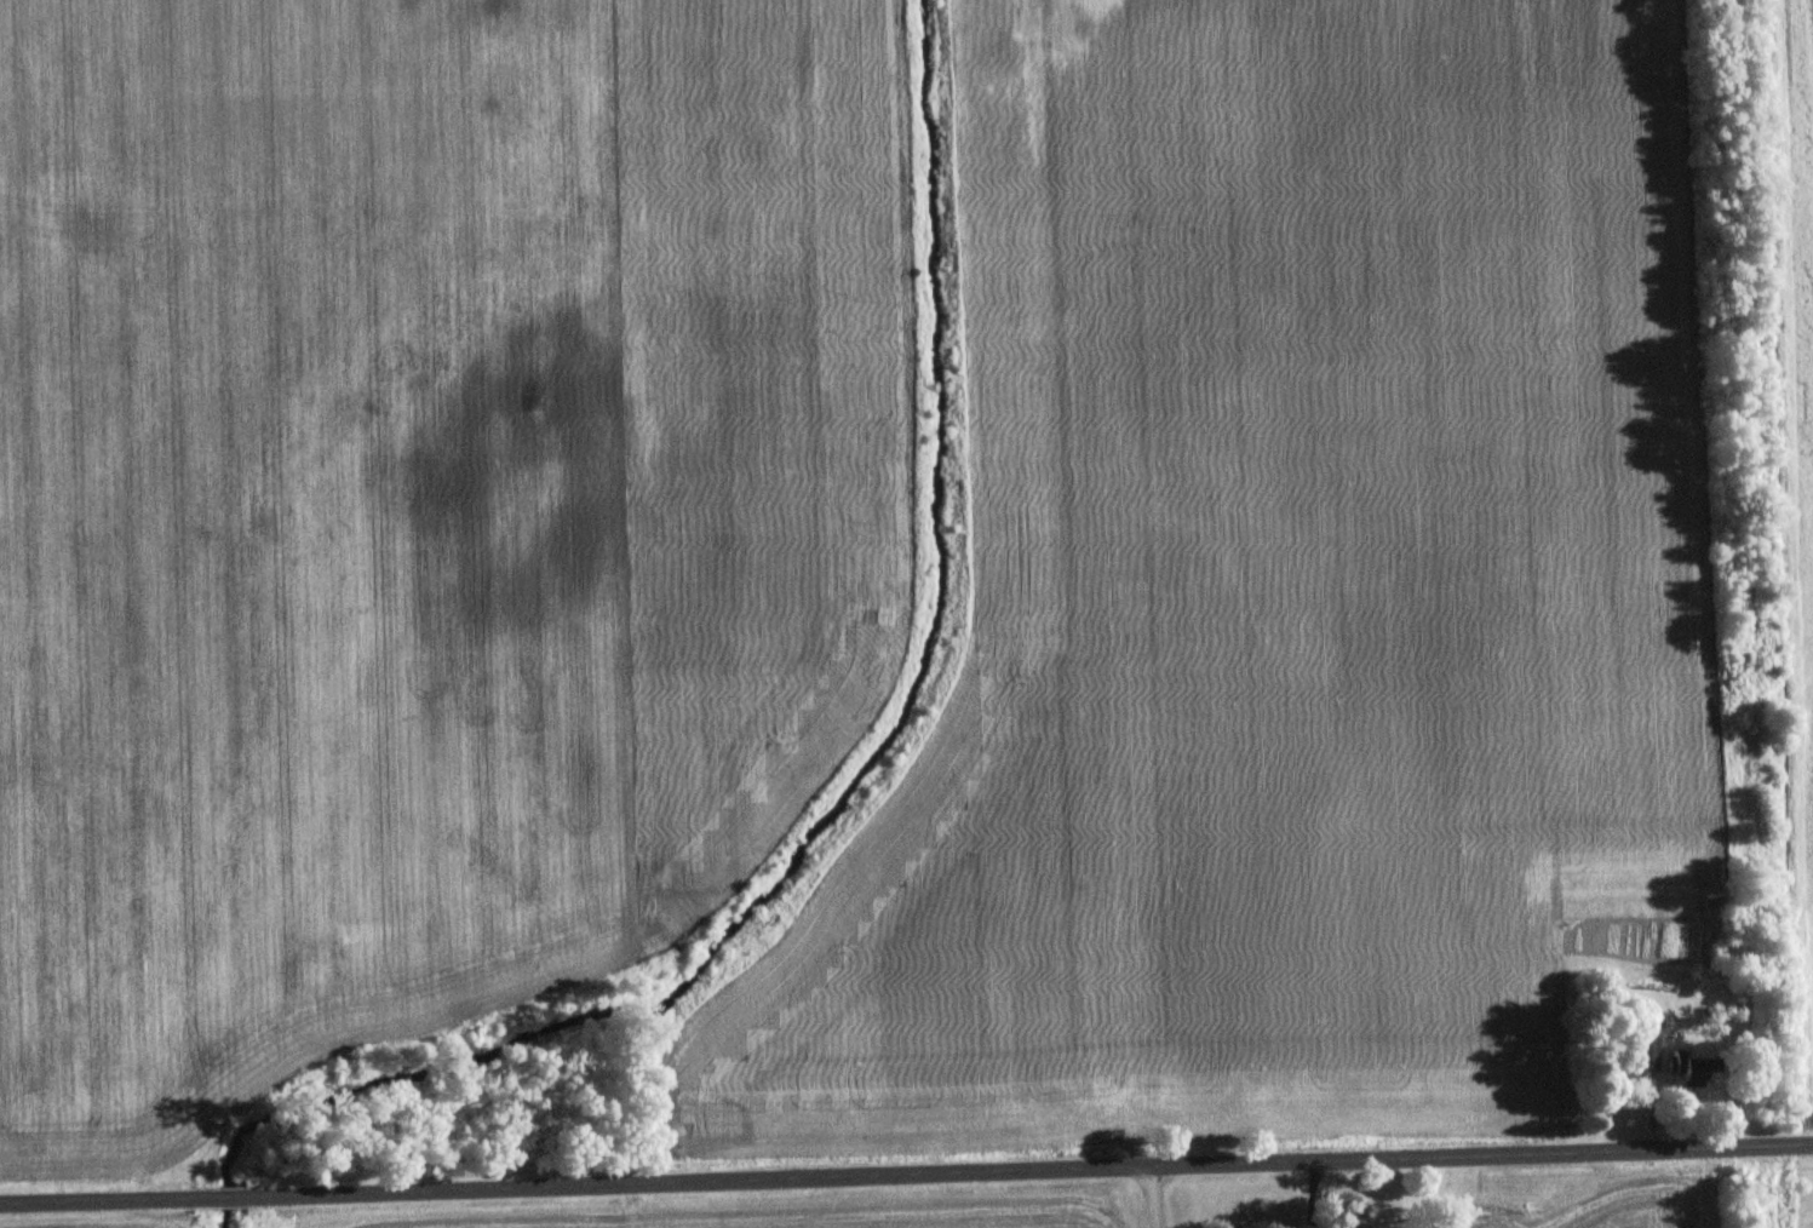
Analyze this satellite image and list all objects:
building: (1691, 1065)
road: (1027, 1174)
park: (1798, 1190)
road: (224, 1200)
road: (103, 1203)

